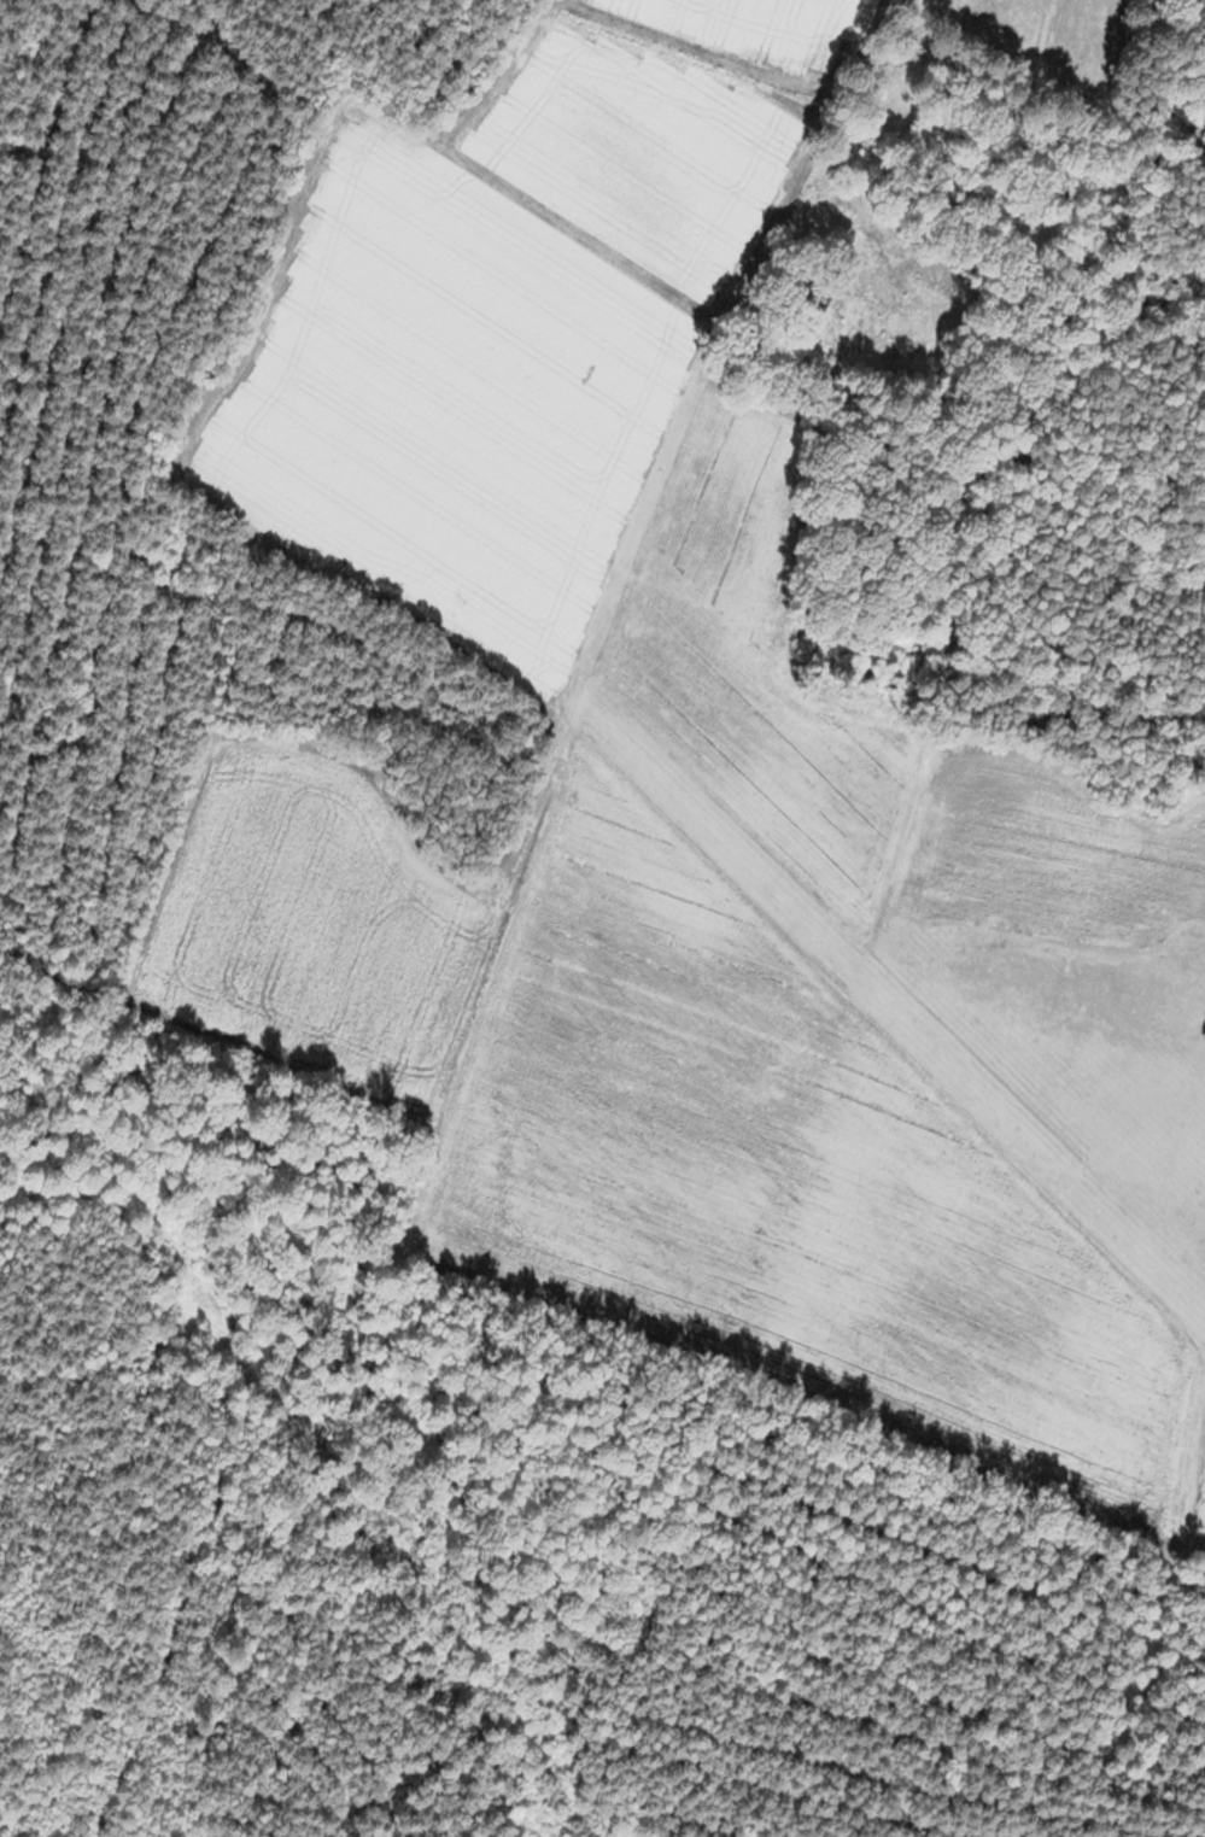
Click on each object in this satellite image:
airport runway: (899, 1036)

